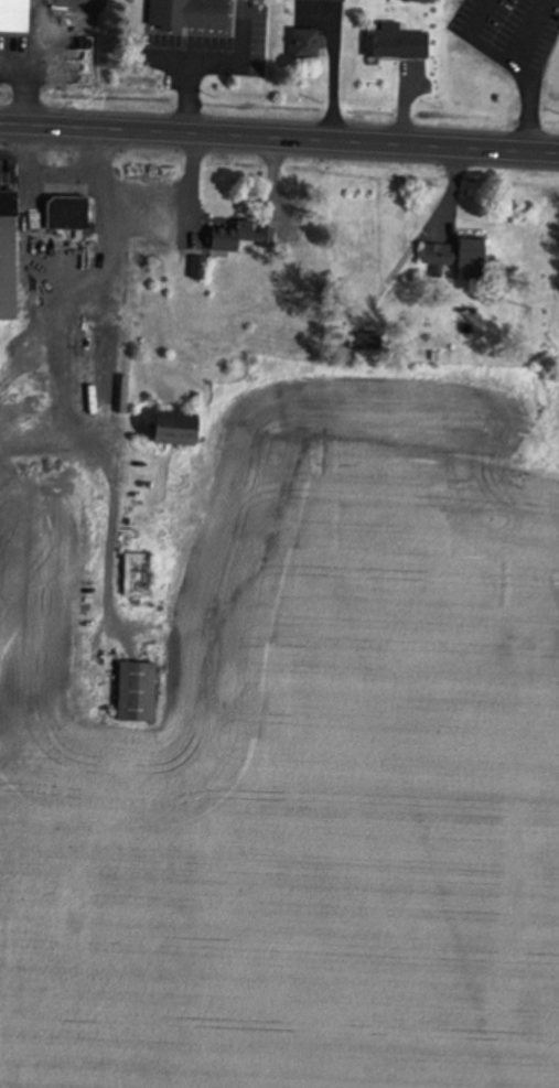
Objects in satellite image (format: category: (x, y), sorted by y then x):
building: (316, 0)
building: (415, 2)
building: (181, 14)
building: (12, 17)
building: (300, 44)
building: (391, 45)
road: (279, 141)
building: (62, 214)
building: (223, 237)
building: (449, 255)
building: (6, 269)
building: (192, 269)
building: (352, 343)
building: (163, 431)
building: (131, 575)
building: (130, 692)

